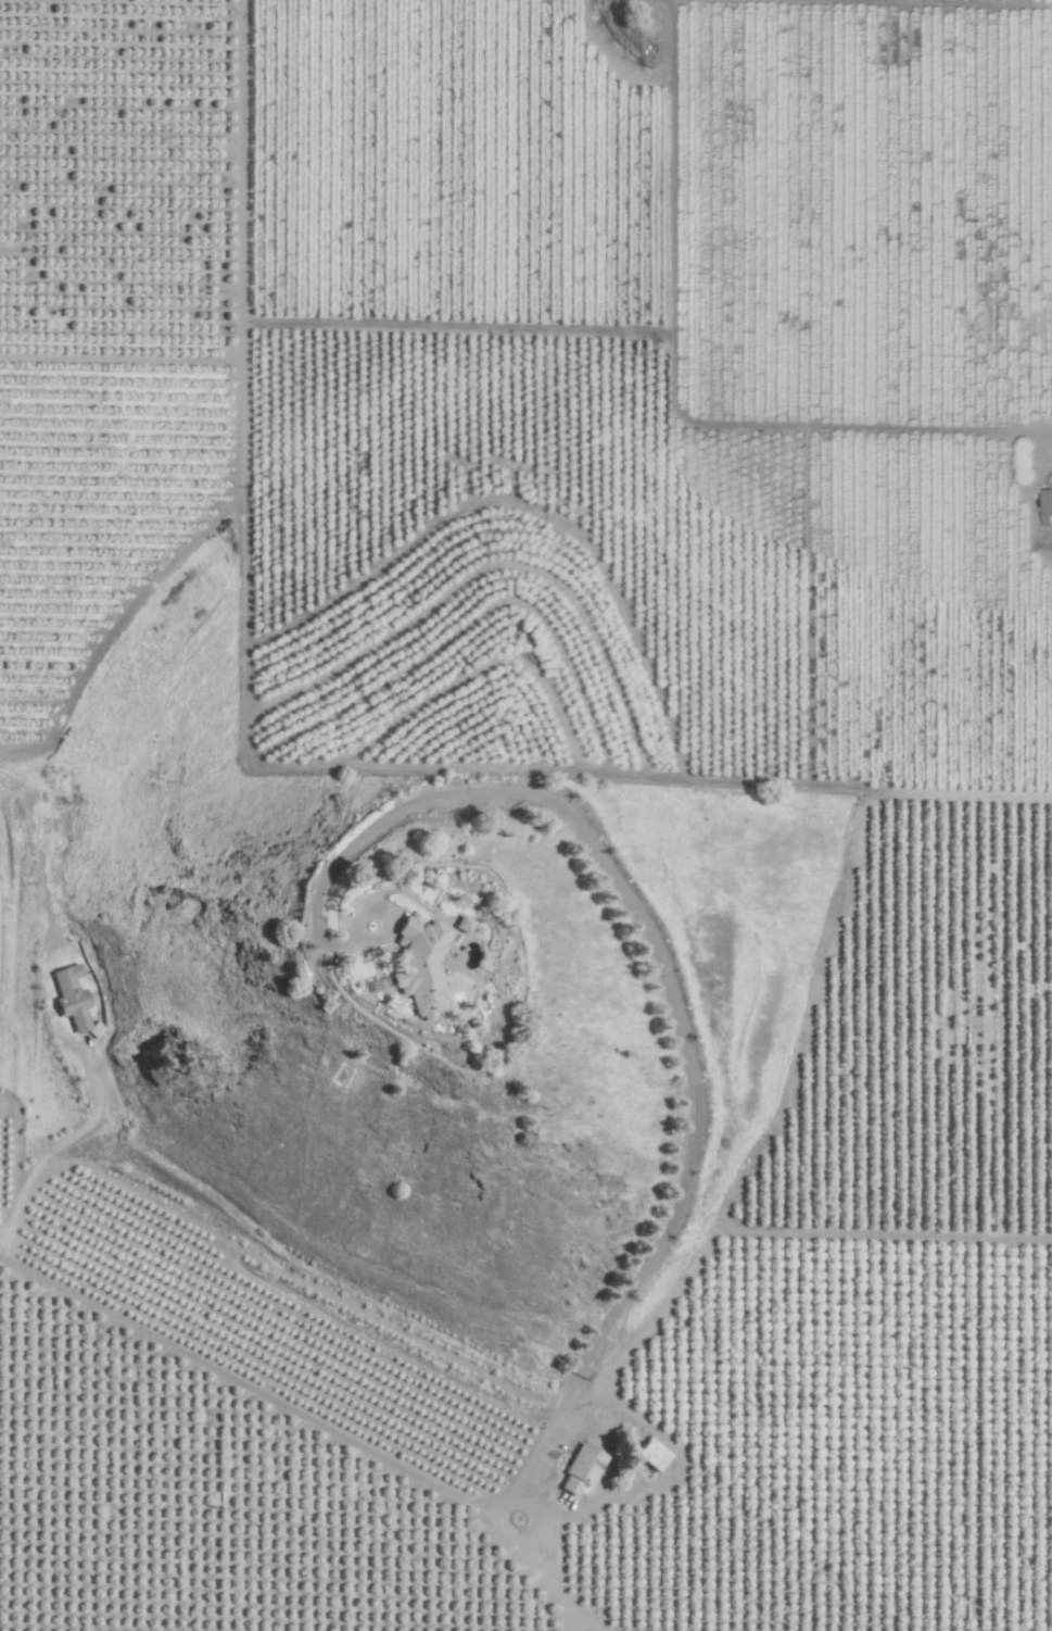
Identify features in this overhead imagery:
building: (1047, 504)
crop: (567, 736)
building: (466, 920)
building: (422, 963)
road: (675, 995)
building: (69, 998)
road: (43, 1158)
road: (248, 1387)
building: (651, 1455)
building: (580, 1470)
road: (542, 1579)

